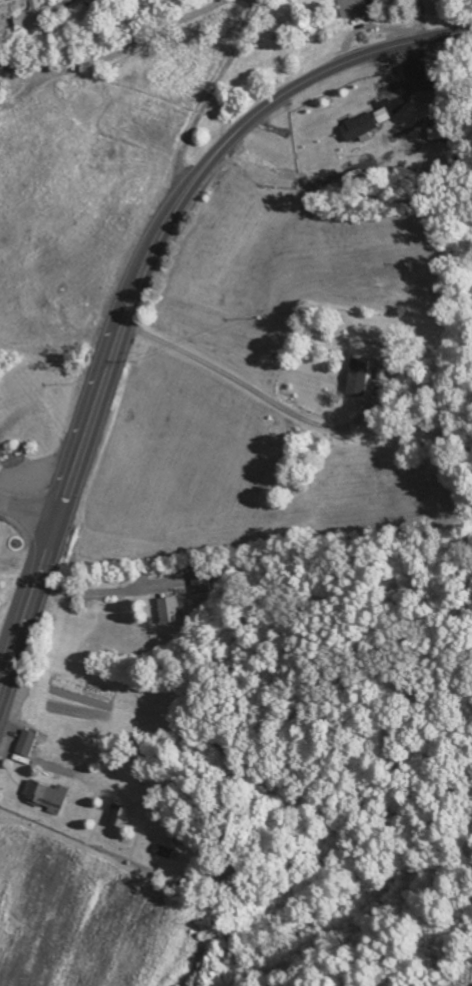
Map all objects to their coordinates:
building: (356, 9)
building: (35, 14)
road: (120, 54)
road: (213, 93)
building: (363, 127)
building: (440, 133)
road: (139, 281)
building: (365, 378)
road: (253, 389)
road: (30, 504)
building: (205, 581)
road: (112, 593)
building: (177, 610)
building: (32, 743)
building: (49, 797)

